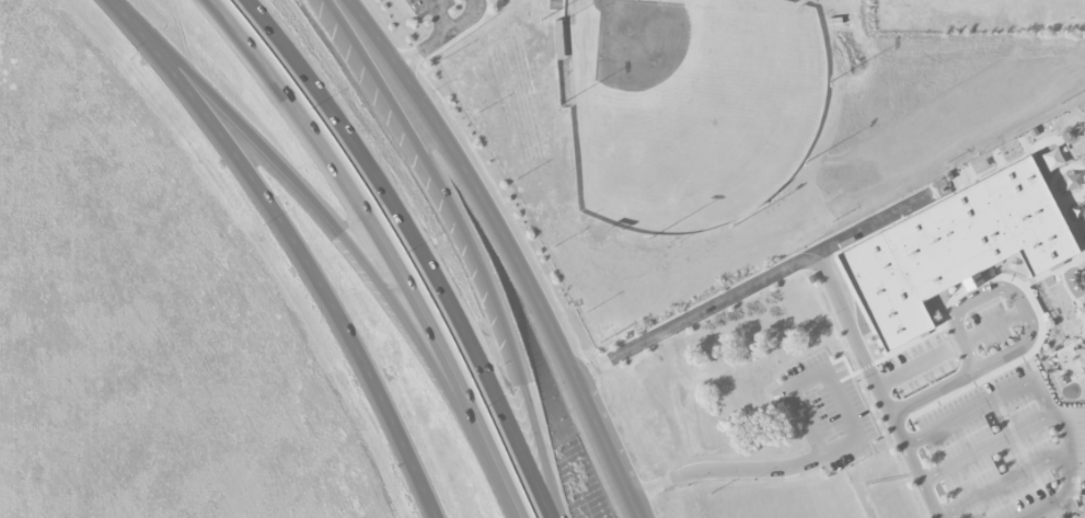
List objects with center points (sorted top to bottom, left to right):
road: (454, 25)
road: (424, 48)
park: (697, 112)
road: (346, 241)
road: (293, 243)
road: (417, 246)
road: (465, 246)
road: (384, 248)
building: (953, 248)
road: (508, 249)
road: (822, 261)
building: (971, 283)
road: (999, 287)
road: (963, 343)
road: (1006, 350)
road: (913, 368)
road: (935, 390)
road: (988, 404)
road: (988, 445)
road: (829, 452)
road: (1065, 474)
road: (857, 482)
road: (1004, 483)

